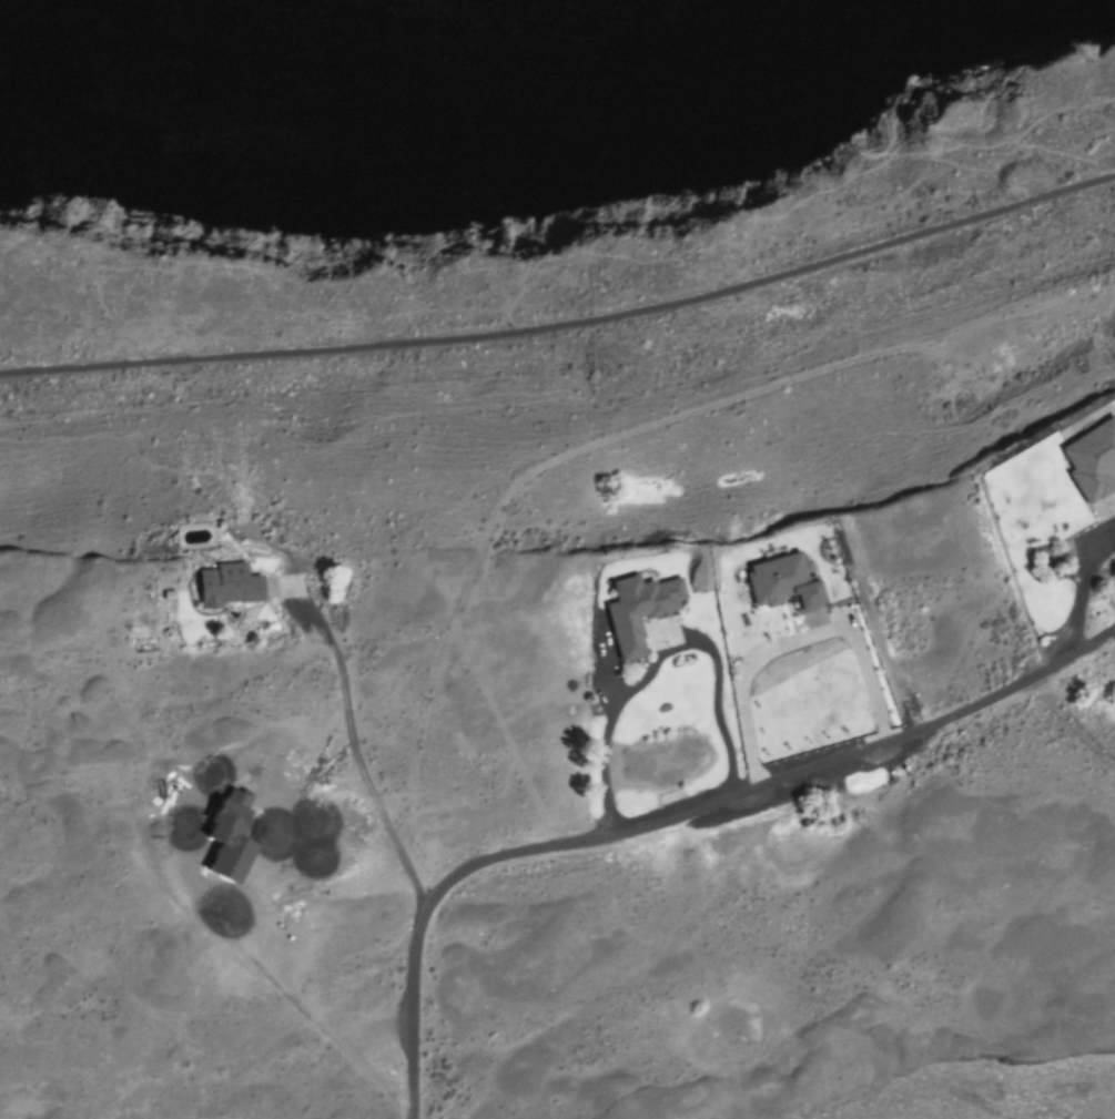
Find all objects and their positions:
park: (544, 218)
road: (566, 324)
building: (1094, 462)
building: (785, 582)
building: (230, 587)
building: (642, 611)
road: (663, 818)

